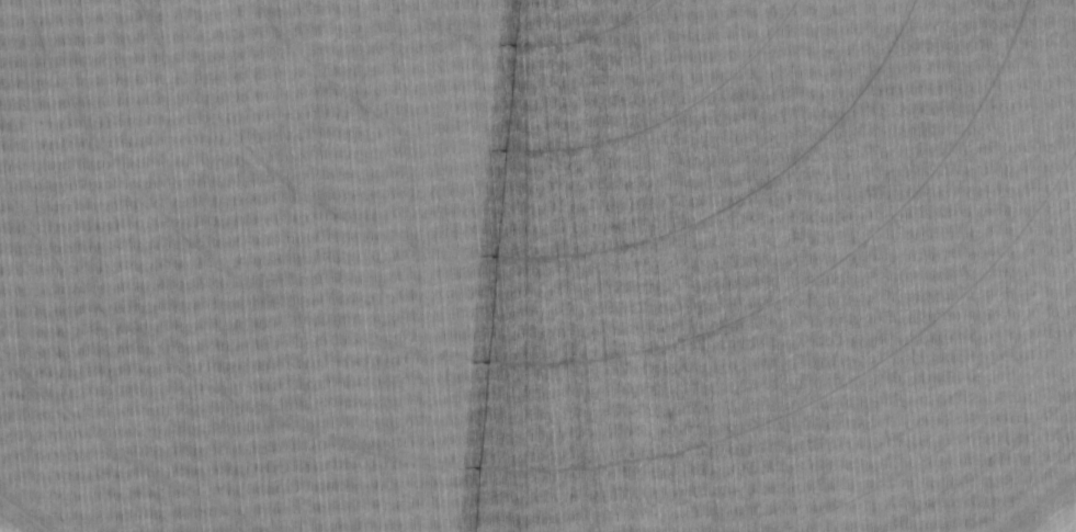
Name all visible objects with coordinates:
crop: (537, 265)

